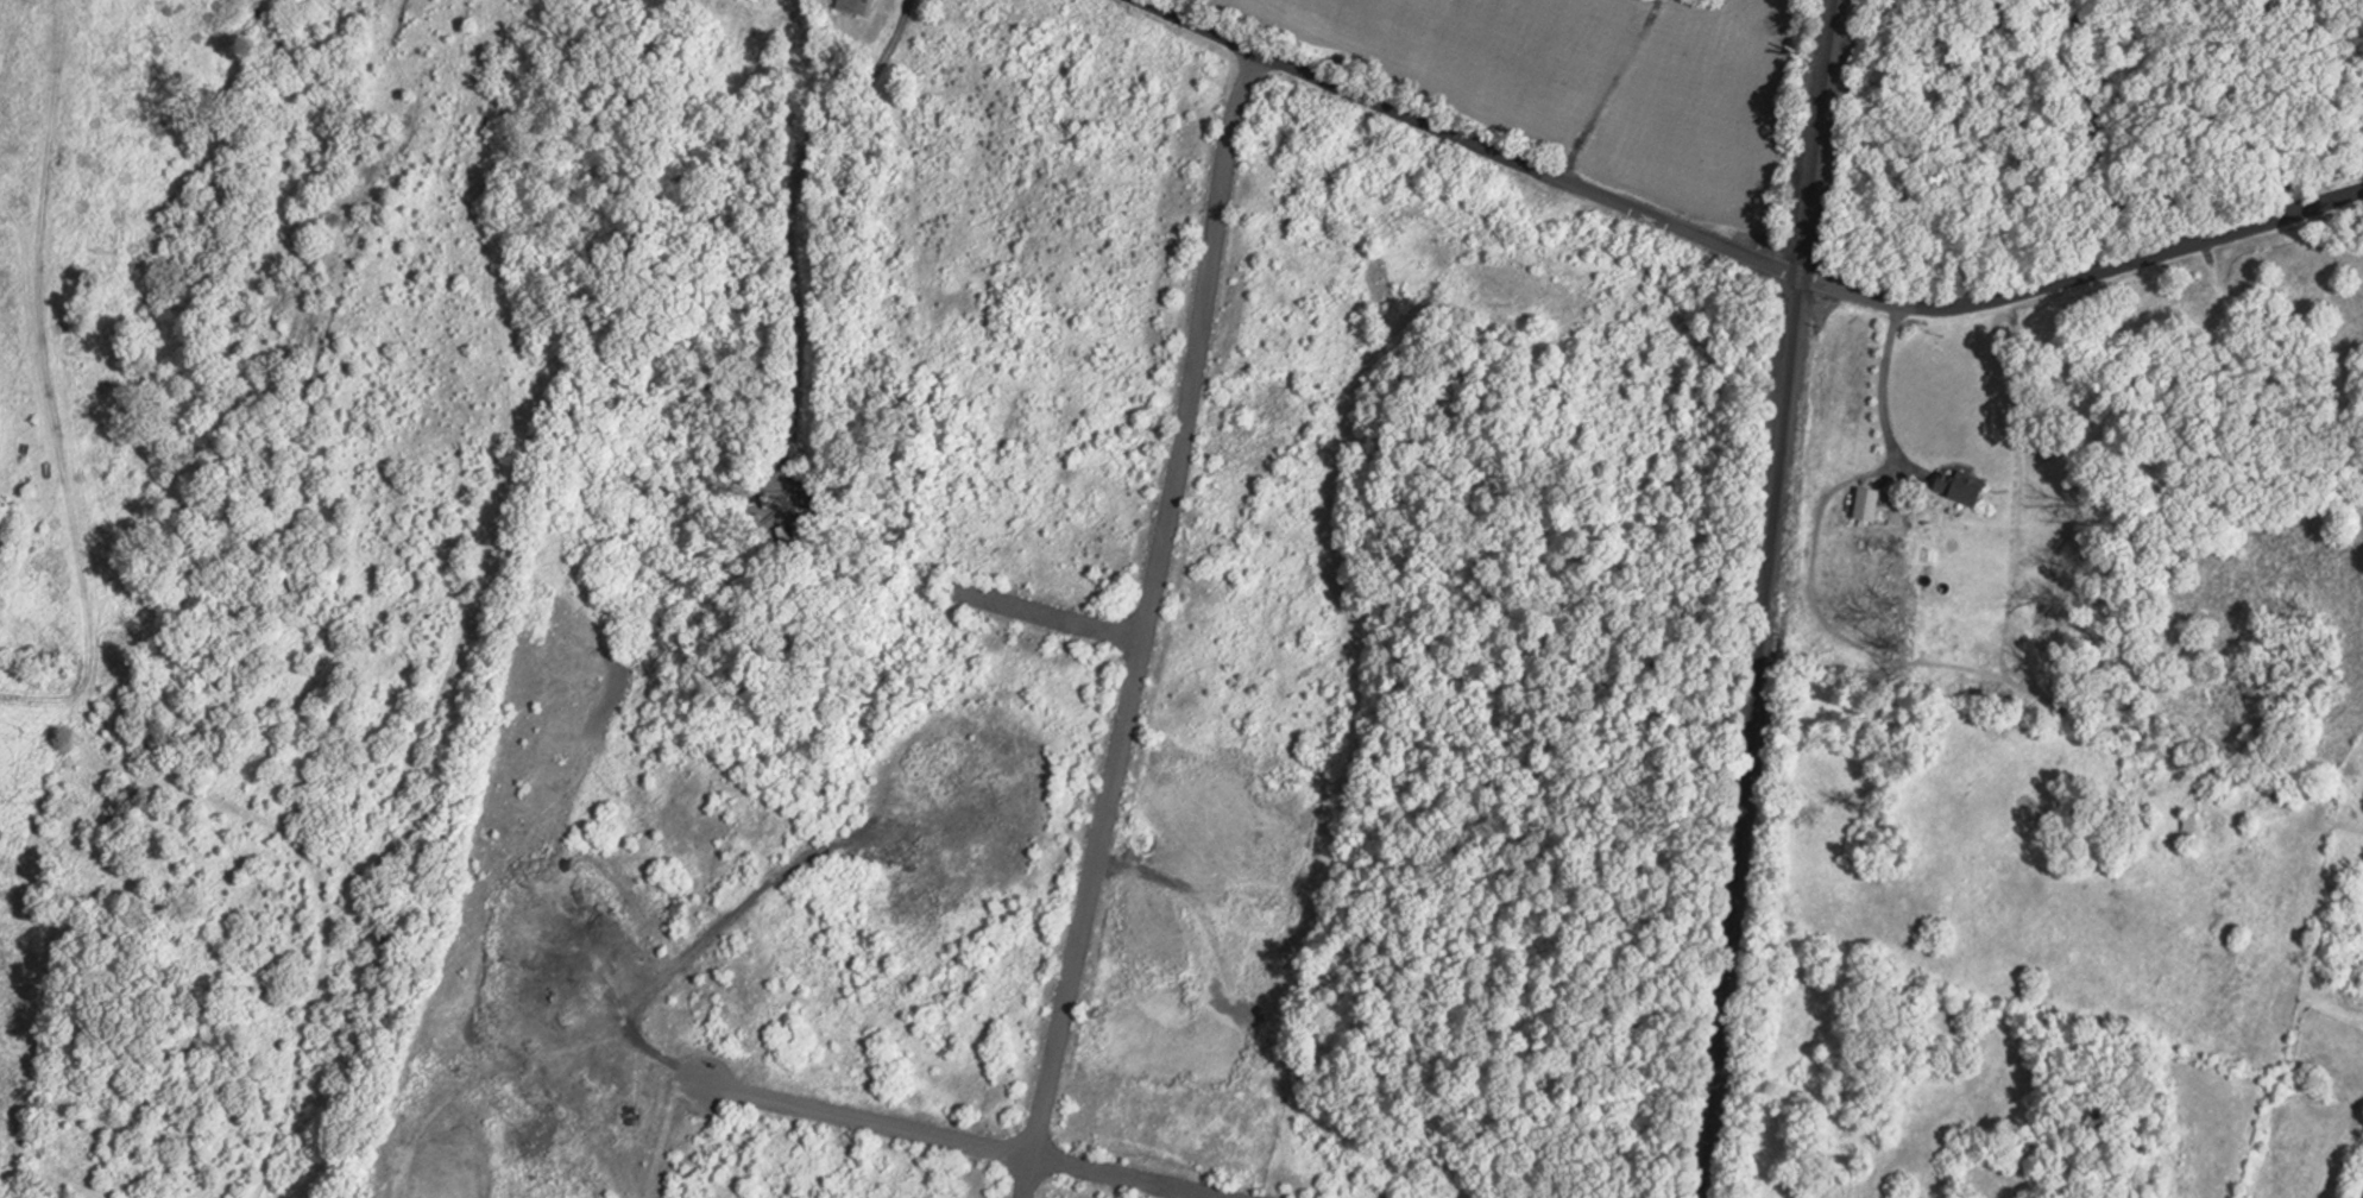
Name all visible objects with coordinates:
building: (857, 6)
railway: (1823, 139)
road: (1486, 147)
road: (2106, 266)
road: (1886, 384)
building: (1966, 486)
building: (1871, 504)
road: (1052, 616)
road: (1145, 625)
railway: (1757, 738)
building: (2194, 828)
road: (869, 1120)
road: (1132, 1177)

